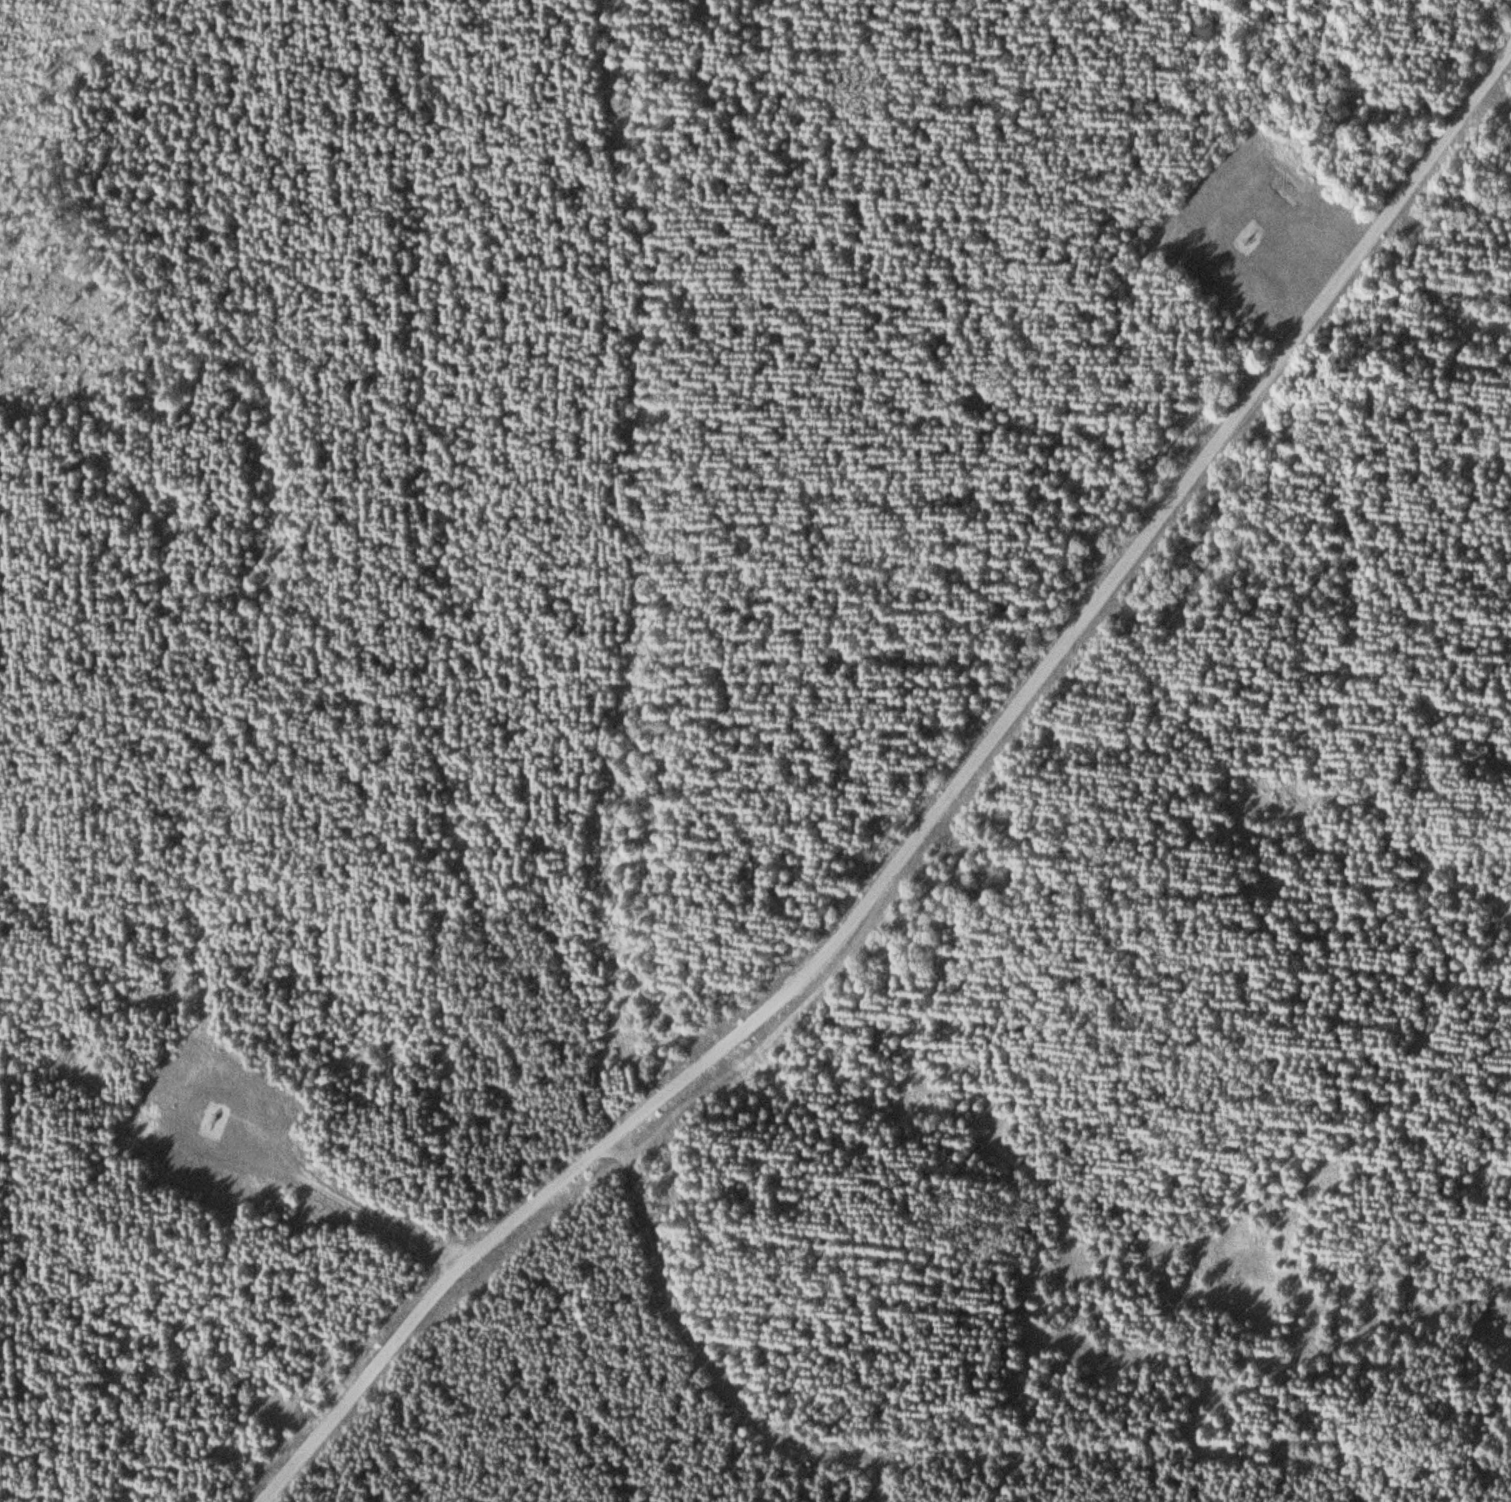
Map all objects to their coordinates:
petroleum well: (1259, 234)
road: (935, 827)
petroleum well: (219, 1119)
road: (370, 1202)
road: (713, 1353)

